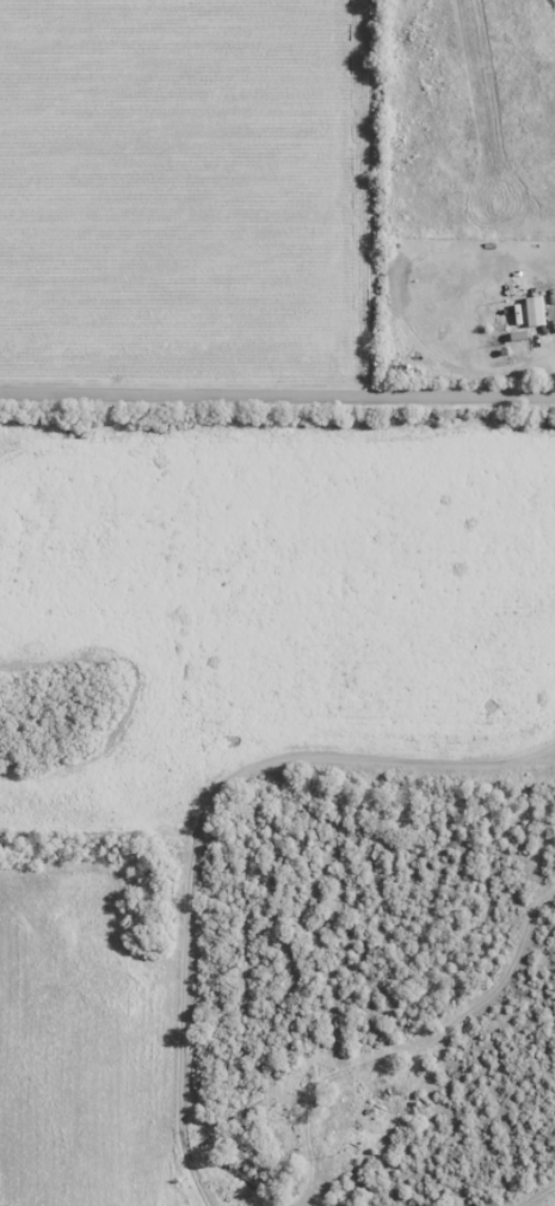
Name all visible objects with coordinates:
road: (277, 393)
road: (535, 761)
road: (198, 824)
road: (409, 1047)
building: (335, 1119)
road: (535, 1195)
road: (310, 1199)

